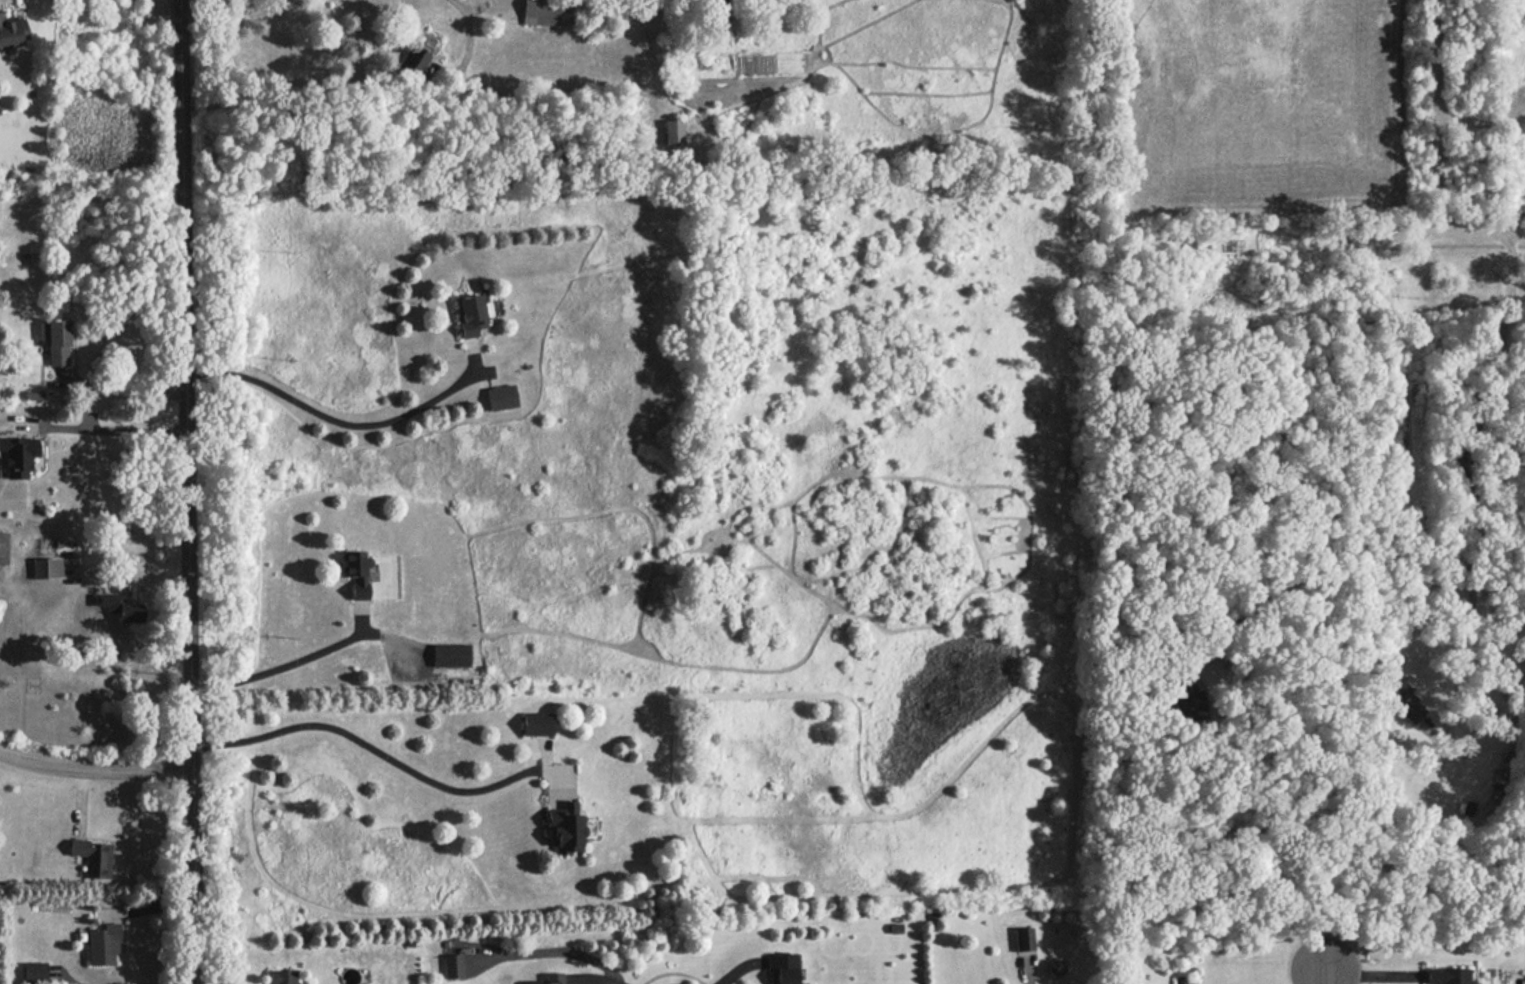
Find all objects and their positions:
building: (539, 12)
road: (247, 19)
building: (13, 30)
road: (469, 34)
building: (413, 62)
building: (672, 131)
road: (1433, 155)
building: (475, 313)
building: (56, 340)
road: (128, 383)
building: (501, 397)
road: (334, 421)
road: (116, 431)
building: (18, 456)
road: (1406, 476)
road: (1466, 486)
road: (186, 491)
building: (3, 547)
building: (47, 567)
building: (355, 571)
road: (134, 575)
building: (120, 606)
building: (450, 655)
road: (284, 663)
building: (1187, 698)
building: (1402, 700)
building: (538, 723)
road: (380, 752)
road: (94, 769)
building: (564, 827)
building: (94, 857)
building: (1024, 938)
building: (103, 944)
building: (452, 965)
building: (780, 968)
building: (35, 970)
road: (671, 971)
building: (1447, 975)
building: (283, 976)
road: (1330, 977)
building: (551, 978)
road: (1366, 982)
road: (597, 983)

